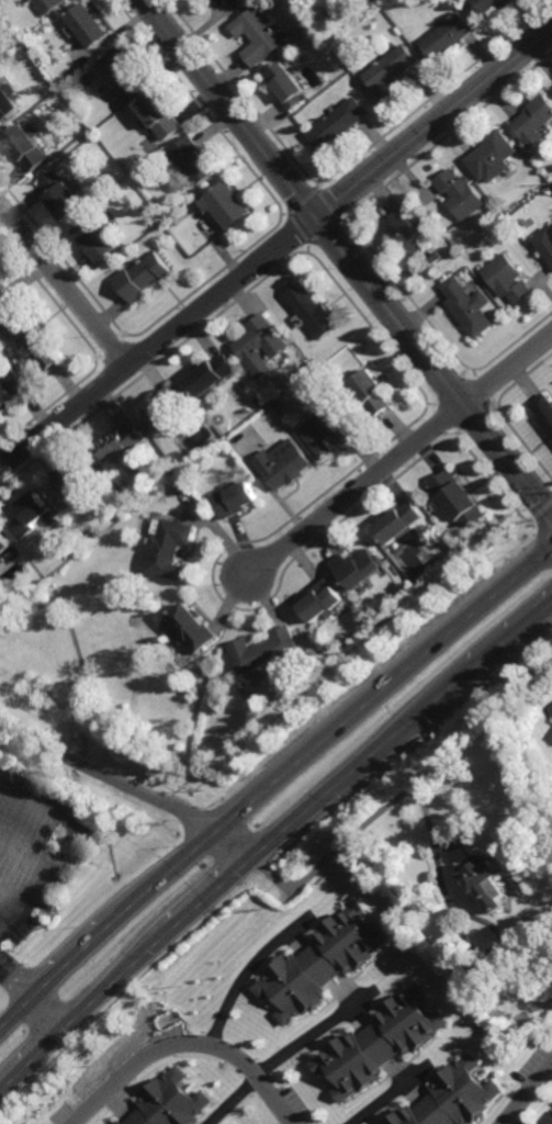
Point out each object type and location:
building: (200, 0)
building: (235, 2)
building: (494, 3)
building: (48, 4)
building: (90, 24)
building: (258, 35)
building: (448, 35)
building: (23, 53)
building: (125, 69)
building: (391, 70)
building: (284, 83)
building: (8, 101)
road: (228, 108)
building: (161, 115)
building: (534, 121)
road: (433, 122)
building: (337, 124)
building: (29, 144)
building: (493, 156)
building: (195, 157)
building: (460, 194)
building: (63, 195)
building: (226, 204)
building: (406, 233)
building: (98, 239)
building: (544, 244)
building: (144, 277)
building: (506, 280)
road: (64, 283)
building: (2, 302)
building: (466, 307)
building: (309, 312)
building: (35, 339)
road: (157, 341)
building: (260, 346)
road: (433, 366)
building: (212, 375)
building: (10, 387)
building: (371, 393)
building: (168, 408)
building: (543, 413)
building: (328, 430)
building: (121, 445)
road: (397, 456)
building: (282, 469)
building: (76, 477)
building: (458, 501)
building: (233, 502)
building: (33, 514)
building: (401, 525)
building: (4, 544)
building: (170, 548)
building: (358, 569)
building: (322, 604)
building: (192, 629)
building: (267, 650)
building: (204, 672)
building: (550, 710)
road: (268, 785)
road: (131, 787)
road: (427, 822)
parking lot: (41, 834)
road: (272, 841)
road: (58, 848)
road: (25, 851)
building: (485, 880)
road: (13, 900)
building: (538, 929)
building: (318, 960)
road: (244, 970)
road: (33, 992)
building: (551, 1000)
road: (185, 1043)
building: (376, 1044)
road: (288, 1054)
road: (526, 1092)
road: (388, 1093)
building: (451, 1098)
building: (170, 1101)
road: (517, 1117)
building: (548, 1120)

